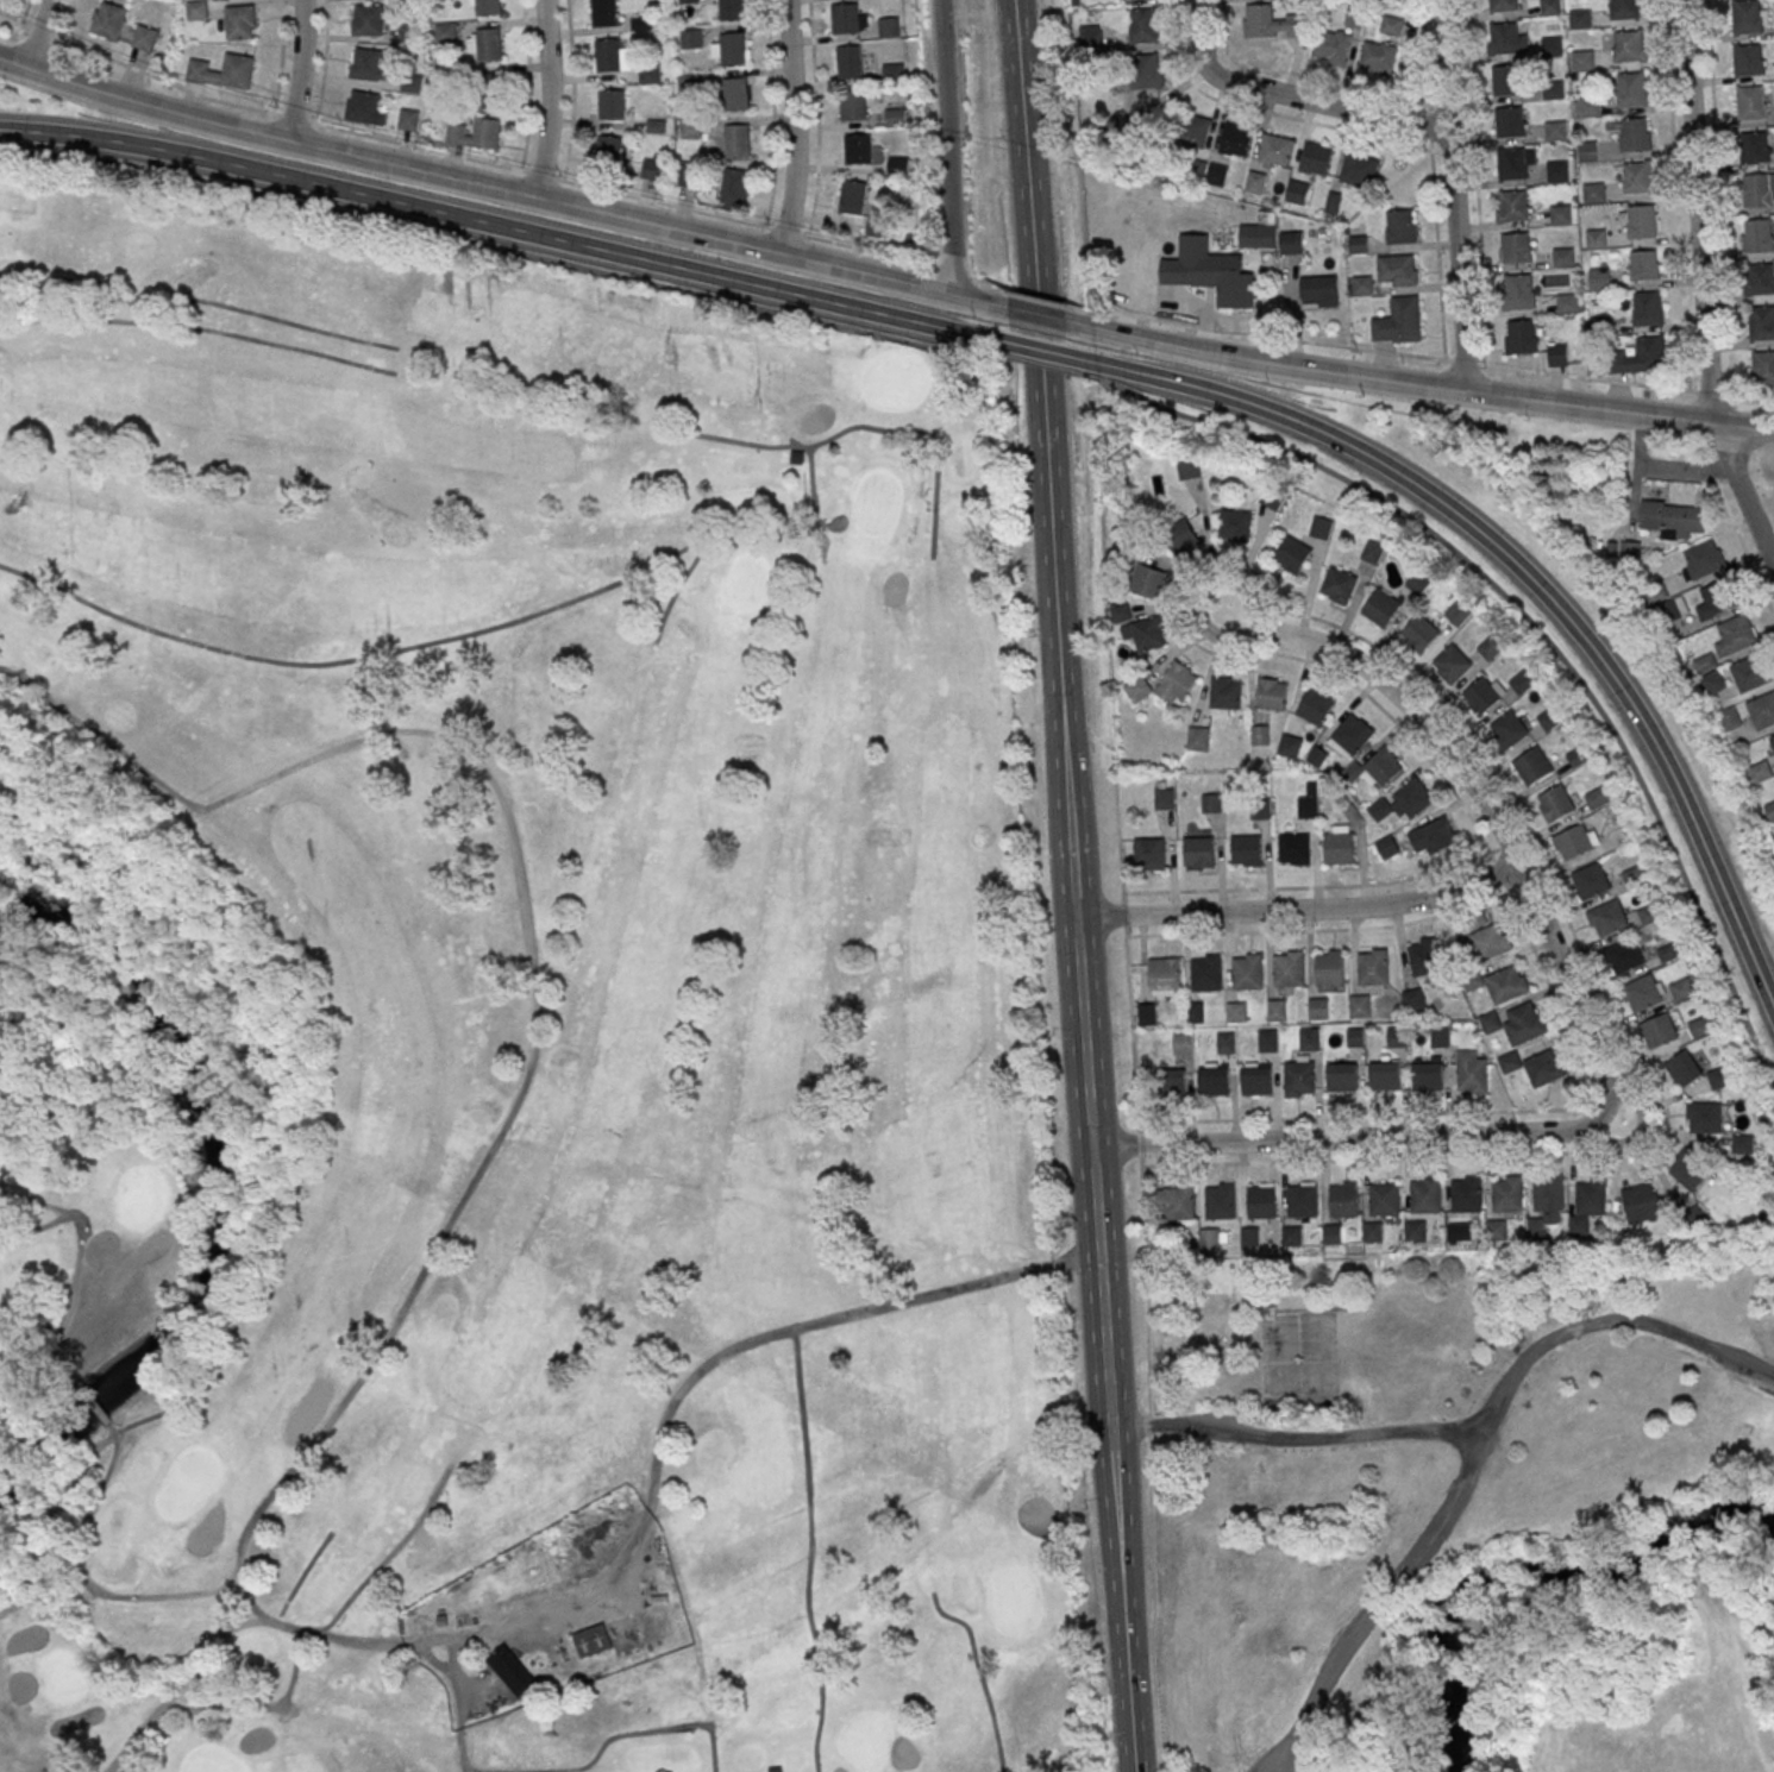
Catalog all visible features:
building: (687, 2)
building: (1503, 6)
building: (484, 7)
building: (1549, 8)
building: (1623, 10)
building: (729, 11)
building: (195, 12)
building: (602, 13)
building: (1747, 15)
building: (1354, 17)
building: (107, 19)
road: (67, 20)
building: (366, 20)
building: (842, 20)
building: (240, 21)
road: (1222, 21)
building: (1579, 21)
building: (1271, 23)
building: (1142, 25)
building: (1391, 25)
road: (1199, 26)
building: (886, 29)
building: (408, 33)
road: (38, 34)
building: (444, 34)
building: (143, 38)
building: (1089, 38)
building: (1506, 38)
building: (689, 42)
building: (484, 43)
building: (1628, 45)
building: (1331, 48)
building: (1550, 49)
building: (732, 51)
road: (281, 57)
building: (604, 57)
building: (1377, 57)
building: (1748, 58)
building: (1581, 59)
road: (1242, 62)
road: (324, 63)
building: (847, 63)
building: (368, 65)
road: (301, 70)
building: (222, 71)
building: (1148, 71)
building: (648, 75)
building: (891, 75)
road: (1215, 75)
building: (1506, 80)
building: (445, 81)
road: (528, 84)
road: (1352, 84)
building: (687, 86)
building: (1631, 89)
building: (488, 90)
road: (571, 90)
building: (1553, 93)
building: (733, 96)
road: (550, 99)
building: (1750, 102)
building: (610, 105)
building: (363, 108)
building: (851, 108)
road: (1347, 108)
road: (772, 114)
road: (1277, 118)
road: (816, 119)
building: (894, 119)
building: (407, 120)
building: (1510, 121)
road: (796, 127)
building: (1192, 130)
building: (689, 131)
building: (1555, 132)
building: (1630, 132)
building: (475, 133)
building: (1235, 139)
building: (735, 144)
building: (1754, 145)
road: (945, 146)
building: (608, 151)
building: (857, 151)
building: (1274, 151)
building: (1315, 159)
road: (479, 161)
building: (1516, 163)
building: (897, 164)
building: (1358, 168)
building: (651, 169)
building: (685, 175)
building: (1556, 175)
building: (1637, 177)
road: (1433, 180)
building: (1254, 182)
road: (484, 186)
building: (733, 188)
building: (1756, 189)
building: (1296, 191)
building: (1593, 195)
road: (1675, 195)
building: (852, 196)
road: (1455, 196)
road: (1719, 197)
building: (1511, 207)
building: (1560, 216)
building: (1641, 221)
road: (488, 222)
building: (1400, 227)
building: (1759, 234)
building: (1265, 237)
building: (1596, 241)
building: (1290, 243)
road: (490, 245)
building: (1358, 245)
building: (1516, 247)
building: (1562, 259)
building: (1644, 265)
building: (1396, 270)
building: (1209, 272)
building: (1759, 277)
building: (1599, 282)
road: (1703, 284)
building: (1362, 285)
building: (1318, 291)
building: (1518, 291)
road: (1030, 296)
building: (1566, 304)
building: (1647, 308)
road: (1034, 313)
building: (1398, 321)
building: (1761, 321)
building: (1600, 328)
building: (1519, 337)
road: (1035, 350)
building: (1557, 354)
building: (1640, 357)
road: (1433, 358)
road: (1039, 365)
building: (1763, 366)
road: (1433, 389)
road: (1039, 428)
building: (1187, 469)
road: (1685, 469)
road: (1079, 479)
road: (1757, 480)
building: (1271, 498)
building: (1673, 517)
building: (1234, 524)
building: (1319, 528)
building: (1180, 536)
road: (1743, 541)
building: (1631, 547)
building: (1372, 552)
building: (1291, 554)
building: (1703, 561)
road: (1092, 563)
road: (1212, 580)
building: (1147, 582)
building: (1418, 582)
road: (1532, 583)
road: (1264, 585)
building: (1337, 585)
building: (1716, 599)
building: (1381, 607)
building: (1121, 614)
building: (1456, 614)
park: (1574, 627)
road: (1532, 631)
building: (1145, 633)
building: (1419, 633)
building: (1735, 635)
building: (1490, 648)
building: (1450, 664)
building: (1750, 674)
building: (1713, 680)
building: (1522, 683)
building: (1166, 685)
building: (1271, 693)
building: (1482, 693)
building: (1225, 696)
building: (1315, 706)
building: (1761, 712)
building: (1730, 717)
building: (1509, 729)
building: (1260, 735)
building: (1350, 736)
building: (1198, 739)
building: (1772, 740)
building: (1289, 746)
building: (1531, 766)
building: (1378, 767)
building: (1760, 771)
building: (1164, 798)
building: (1597, 798)
building: (1410, 800)
building: (1210, 803)
building: (1308, 803)
building: (1555, 803)
building: (1770, 810)
road: (1492, 818)
building: (1431, 837)
building: (1575, 841)
building: (1339, 844)
building: (1293, 848)
building: (1246, 850)
building: (1199, 852)
building: (1148, 854)
road: (1121, 879)
building: (1591, 881)
road: (1308, 888)
road: (1298, 910)
building: (1607, 918)
road: (1318, 930)
building: (1491, 941)
building: (1424, 956)
building: (1624, 956)
building: (1373, 966)
building: (1287, 968)
building: (1247, 970)
building: (1329, 970)
building: (1164, 972)
building: (1205, 972)
building: (1506, 984)
building: (1682, 989)
building: (1643, 993)
building: (1413, 1001)
building: (1359, 1006)
building: (1318, 1008)
building: (1277, 1010)
building: (1236, 1011)
building: (1195, 1012)
building: (1146, 1014)
building: (1524, 1023)
park: (507, 1025)
building: (1659, 1031)
building: (1438, 1036)
building: (1354, 1037)
building: (1396, 1037)
building: (1309, 1038)
building: (1267, 1041)
building: (1225, 1043)
building: (1183, 1044)
building: (1535, 1067)
building: (1684, 1069)
building: (1471, 1073)
building: (1427, 1075)
building: (1341, 1076)
building: (1384, 1076)
building: (1719, 1077)
building: (1214, 1079)
building: (1255, 1079)
building: (1299, 1079)
building: (1176, 1081)
building: (1704, 1117)
road: (1349, 1138)
building: (1741, 1144)
road: (1089, 1152)
building: (1688, 1169)
building: (1547, 1194)
building: (1466, 1198)
building: (1506, 1198)
river: (211, 1199)
building: (1425, 1199)
building: (1343, 1200)
building: (1176, 1201)
building: (1221, 1201)
building: (1590, 1201)
building: (1261, 1202)
building: (1384, 1202)
building: (1302, 1204)
building: (1641, 1204)
building: (1413, 1231)
building: (1373, 1232)
building: (1333, 1234)
building: (1292, 1236)
road: (734, 1350)
road: (1297, 1439)
road: (1475, 1456)
road: (1713, 1465)
park: (1472, 1507)
road: (1686, 1532)
river: (1528, 1582)
road: (1122, 1610)
building: (591, 1640)
road: (1736, 1659)
building: (512, 1671)
park: (1669, 1753)
parking lot: (1281, 1760)
building: (775, 1770)

